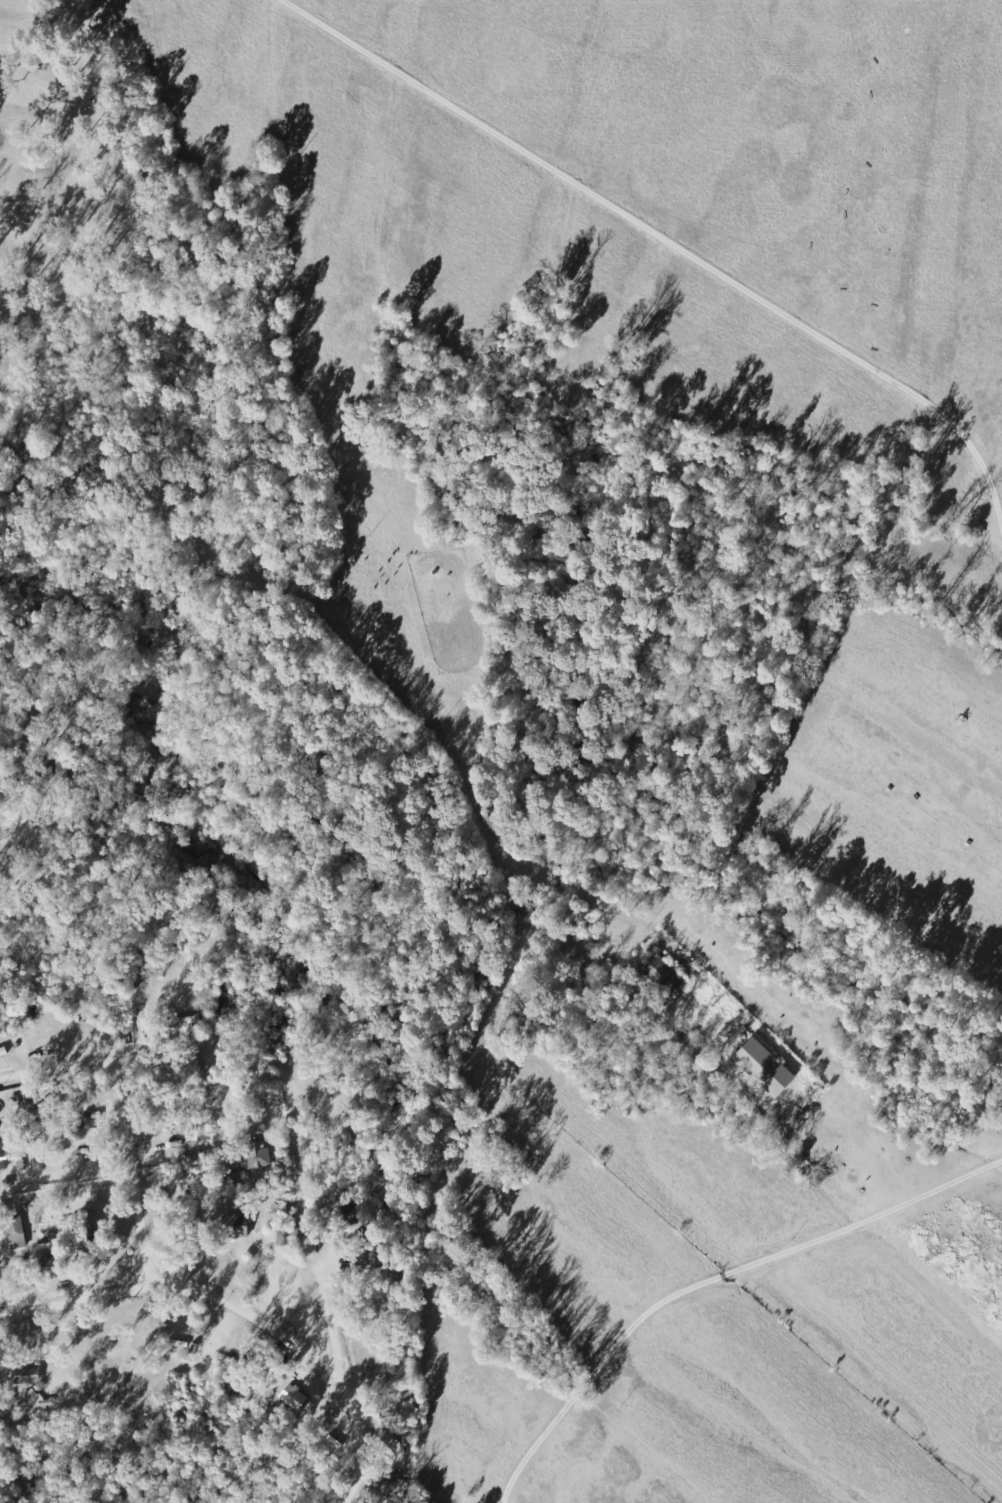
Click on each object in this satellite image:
road: (35, 767)
building: (668, 973)
building: (189, 1020)
road: (163, 1051)
building: (767, 1067)
building: (4, 1149)
road: (146, 1166)
building: (242, 1221)
building: (18, 1235)
road: (2, 1273)
road: (83, 1282)
road: (281, 1307)
road: (381, 1329)
building: (27, 1375)
road: (366, 1449)
building: (388, 1492)

